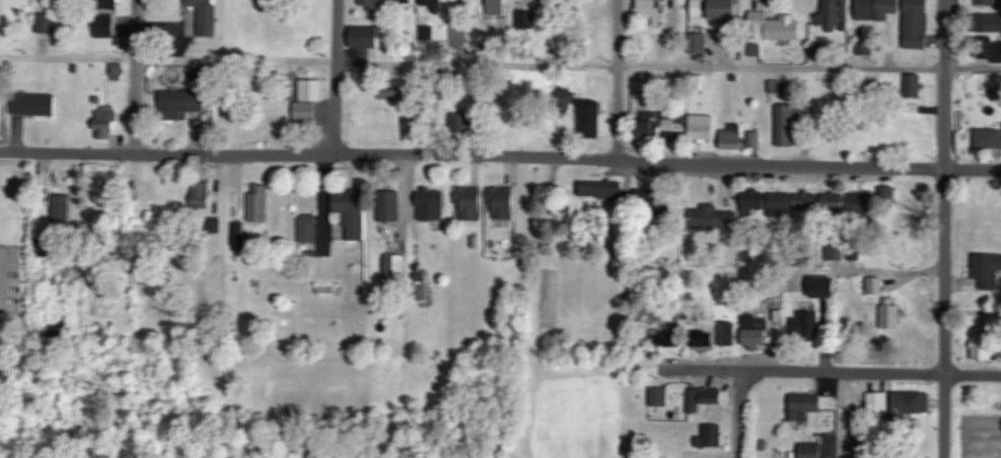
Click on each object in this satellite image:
building: (400, 1)
building: (38, 2)
building: (988, 2)
building: (371, 4)
building: (431, 4)
building: (698, 8)
building: (721, 8)
building: (649, 9)
building: (876, 9)
building: (832, 15)
building: (206, 17)
building: (45, 22)
building: (988, 22)
building: (916, 24)
building: (105, 25)
building: (775, 25)
building: (365, 37)
building: (699, 45)
building: (864, 47)
building: (989, 50)
road: (500, 64)
road: (136, 76)
road: (338, 76)
road: (619, 80)
building: (914, 86)
building: (395, 93)
building: (308, 100)
building: (181, 103)
building: (33, 104)
building: (591, 120)
building: (459, 122)
building: (105, 124)
building: (280, 124)
building: (675, 124)
building: (650, 125)
building: (786, 126)
building: (702, 127)
building: (732, 136)
building: (987, 136)
building: (754, 139)
road: (472, 154)
road: (972, 168)
building: (591, 189)
building: (201, 197)
building: (912, 197)
building: (886, 198)
building: (755, 202)
building: (861, 202)
building: (793, 203)
building: (833, 203)
building: (469, 204)
building: (501, 204)
building: (431, 205)
building: (645, 205)
building: (389, 206)
building: (258, 207)
building: (62, 208)
building: (350, 214)
building: (712, 218)
road: (945, 228)
building: (308, 229)
building: (834, 251)
building: (395, 269)
road: (856, 269)
building: (987, 270)
building: (873, 286)
building: (823, 287)
building: (891, 315)
building: (805, 324)
building: (755, 331)
building: (670, 335)
building: (726, 335)
building: (702, 338)
building: (984, 346)
road: (809, 370)
road: (974, 373)
building: (659, 396)
building: (704, 397)
building: (911, 404)
building: (805, 405)
building: (872, 405)
road: (741, 413)
road: (841, 414)
building: (711, 435)
building: (811, 449)

